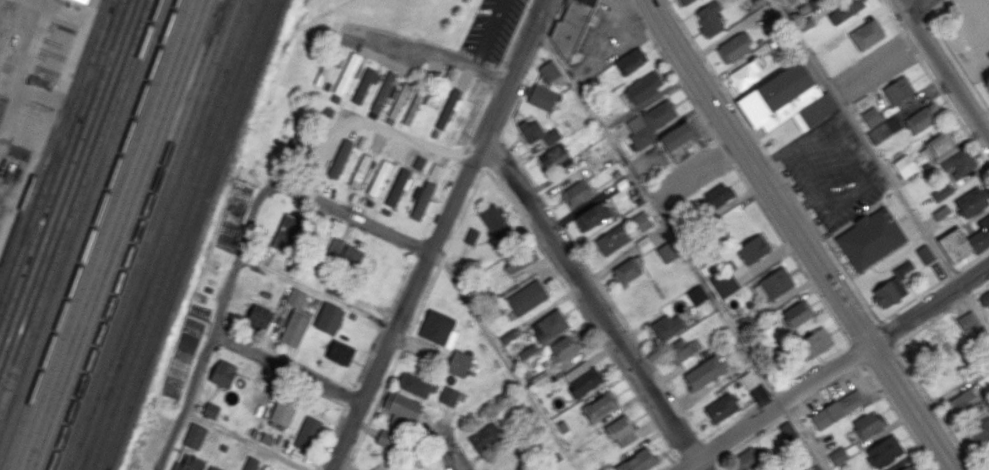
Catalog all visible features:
building: (87, 0)
building: (79, 2)
building: (584, 2)
building: (683, 2)
road: (909, 4)
road: (921, 6)
road: (935, 6)
building: (848, 8)
railway: (221, 9)
road: (889, 15)
building: (708, 18)
railway: (8, 22)
parking lot: (492, 28)
road: (488, 34)
building: (867, 34)
parking lot: (971, 36)
road: (511, 39)
road: (909, 45)
building: (734, 47)
road: (436, 53)
railway: (20, 55)
building: (631, 60)
road: (957, 61)
road: (707, 62)
road: (943, 68)
building: (324, 71)
building: (549, 71)
building: (347, 74)
building: (743, 75)
building: (365, 84)
building: (644, 87)
building: (898, 90)
building: (384, 92)
building: (541, 97)
building: (785, 98)
building: (398, 100)
building: (414, 106)
building: (449, 107)
road: (988, 107)
road: (954, 112)
building: (871, 117)
building: (919, 120)
road: (370, 123)
building: (650, 123)
building: (884, 129)
road: (754, 132)
railway: (53, 133)
building: (539, 134)
building: (361, 142)
building: (680, 142)
road: (865, 143)
building: (299, 144)
road: (763, 146)
building: (938, 147)
railway: (56, 153)
road: (771, 157)
building: (555, 158)
building: (340, 159)
building: (419, 162)
building: (958, 163)
building: (904, 166)
railway: (61, 167)
building: (436, 170)
building: (360, 171)
building: (380, 178)
railway: (66, 180)
road: (786, 180)
building: (398, 187)
railway: (70, 192)
building: (942, 192)
building: (577, 193)
building: (717, 195)
building: (421, 200)
building: (972, 202)
railway: (75, 204)
road: (802, 205)
road: (659, 212)
building: (940, 212)
road: (345, 214)
building: (592, 216)
railway: (79, 217)
building: (495, 221)
building: (640, 222)
railway: (83, 228)
building: (286, 233)
railway: (137, 234)
railway: (156, 234)
railway: (193, 234)
railway: (91, 235)
railway: (101, 235)
railway: (109, 235)
railway: (119, 235)
railway: (127, 235)
railway: (145, 235)
railway: (164, 235)
railway: (175, 235)
railway: (185, 235)
road: (436, 235)
road: (801, 235)
building: (471, 236)
building: (870, 238)
building: (613, 239)
building: (964, 241)
building: (334, 246)
building: (753, 249)
building: (668, 251)
building: (925, 254)
building: (352, 255)
building: (521, 259)
road: (972, 261)
road: (236, 263)
road: (843, 266)
building: (628, 270)
road: (952, 274)
building: (774, 283)
building: (725, 284)
building: (892, 287)
road: (981, 288)
road: (316, 292)
building: (697, 294)
building: (527, 297)
road: (968, 297)
road: (914, 299)
building: (984, 300)
road: (974, 305)
road: (594, 306)
building: (797, 312)
building: (258, 316)
building: (295, 319)
building: (329, 319)
building: (968, 321)
road: (929, 322)
building: (549, 325)
building: (666, 327)
road: (864, 331)
road: (887, 333)
building: (445, 340)
building: (814, 342)
building: (565, 346)
building: (927, 346)
road: (856, 352)
building: (340, 353)
building: (681, 353)
road: (879, 354)
road: (836, 366)
road: (287, 367)
building: (704, 372)
building: (223, 373)
building: (981, 373)
building: (582, 378)
building: (539, 379)
building: (416, 385)
building: (451, 396)
road: (187, 402)
road: (535, 402)
building: (962, 403)
building: (599, 406)
building: (723, 407)
building: (402, 409)
building: (835, 409)
building: (210, 410)
building: (282, 412)
building: (866, 423)
building: (977, 428)
building: (621, 431)
building: (787, 431)
building: (307, 433)
building: (194, 436)
road: (807, 436)
building: (485, 437)
road: (247, 439)
building: (387, 439)
road: (451, 450)
building: (882, 452)
building: (838, 455)
building: (747, 459)
road: (345, 461)
building: (637, 461)
building: (188, 462)
building: (250, 463)
building: (815, 467)
building: (212, 468)
building: (910, 468)

